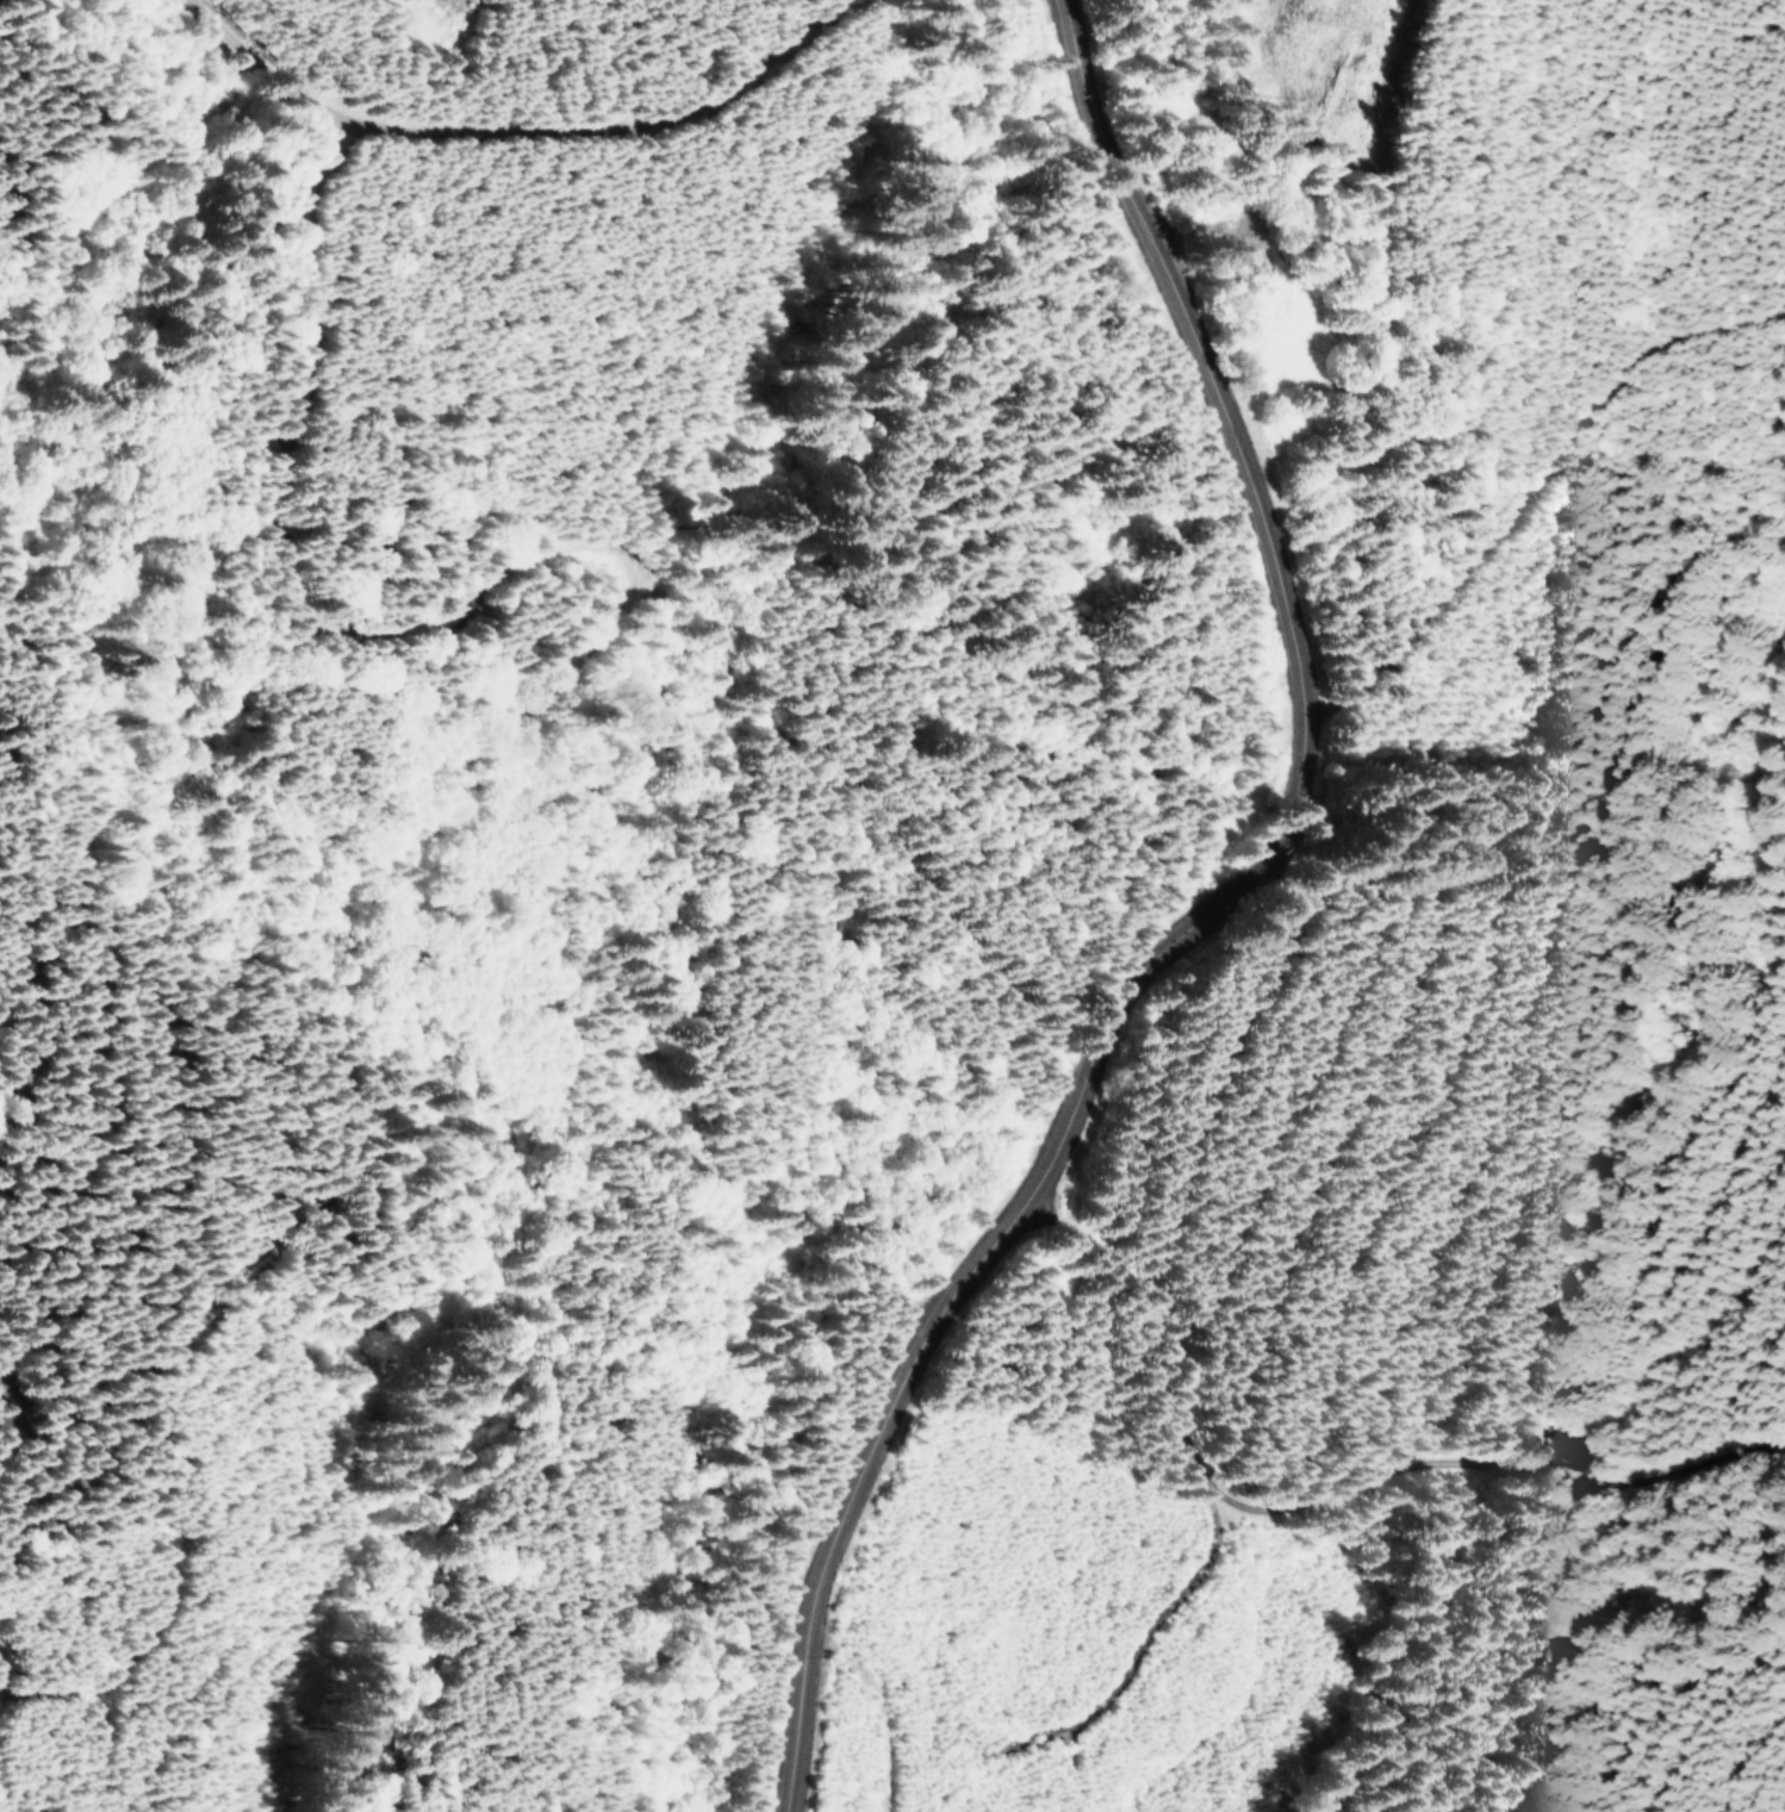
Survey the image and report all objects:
road: (496, 151)
road: (1535, 471)
road: (1240, 934)

